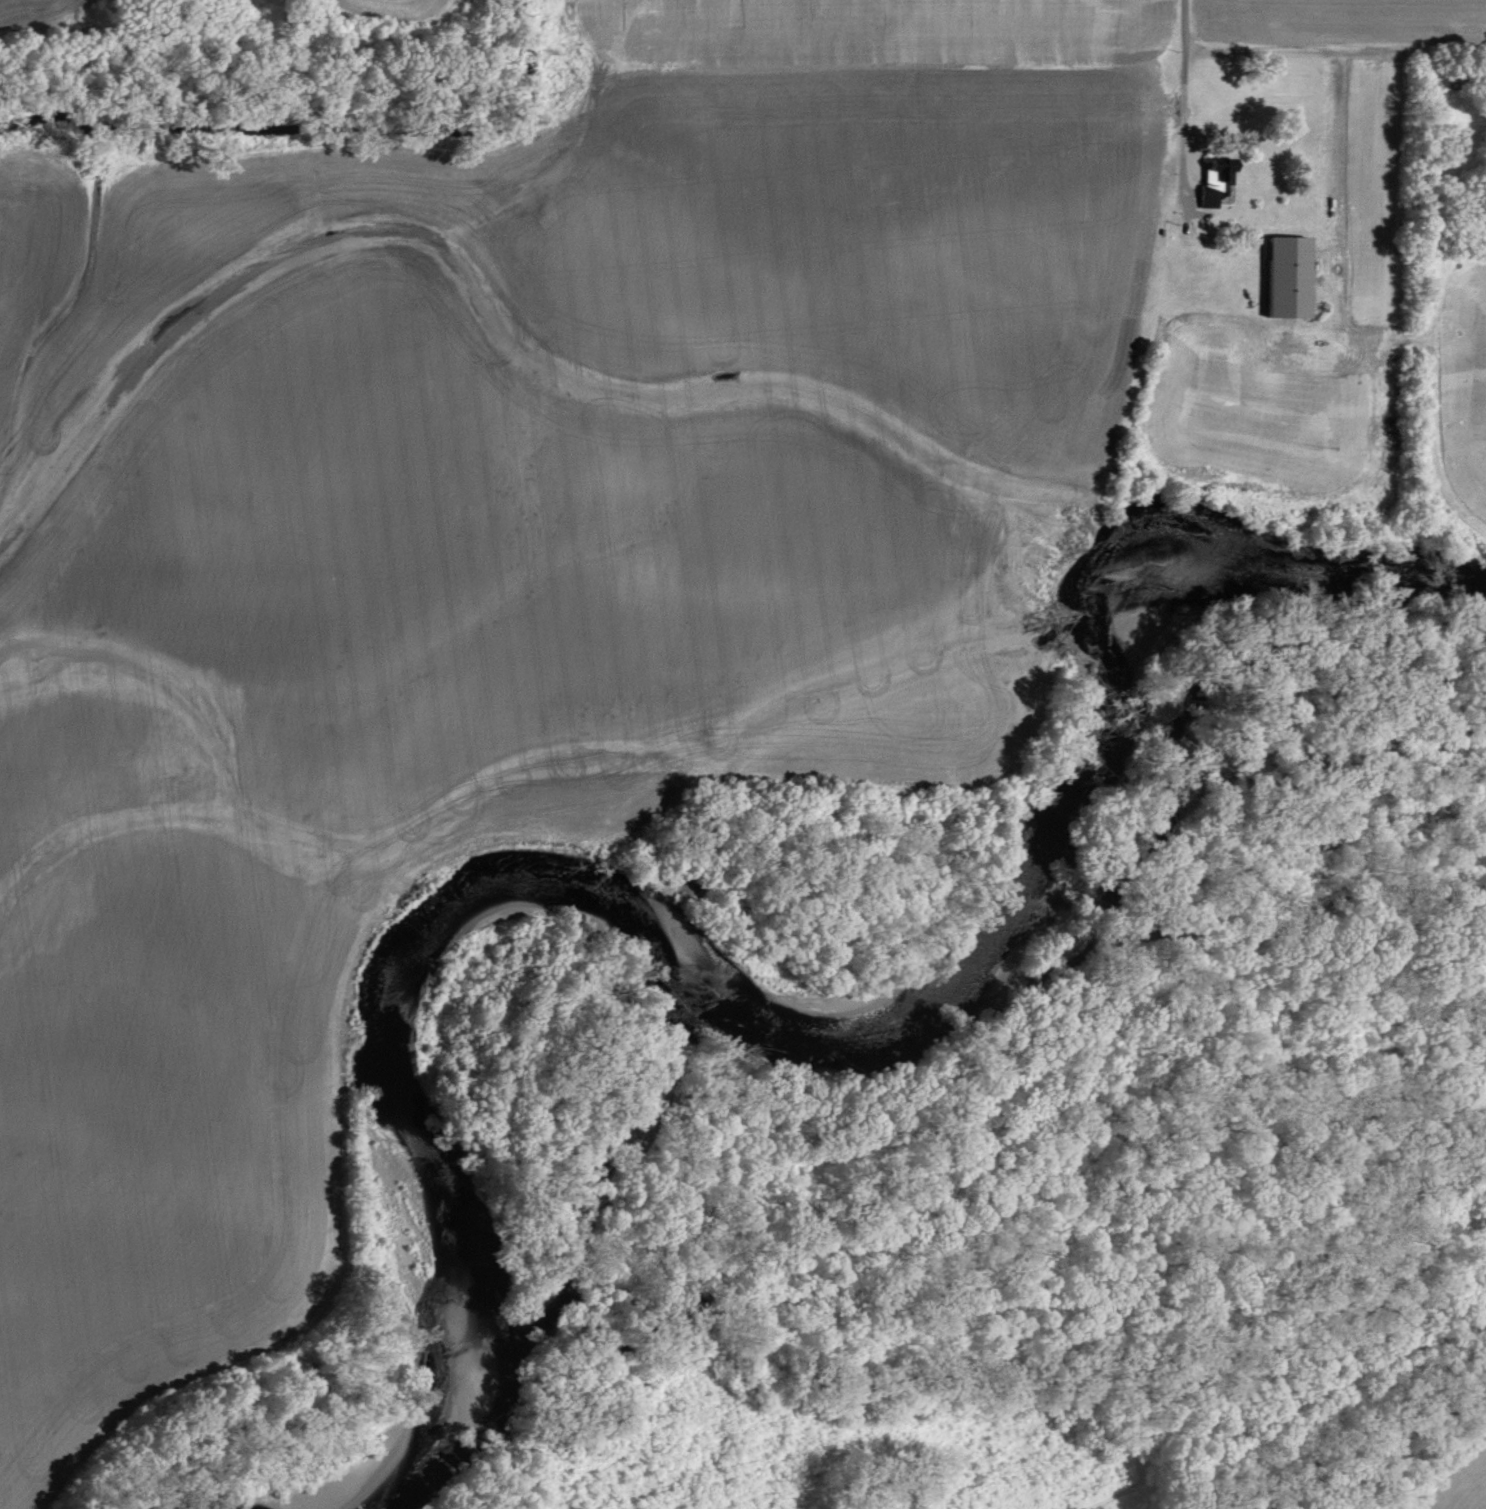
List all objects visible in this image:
road: (1332, 40)
road: (1185, 44)
road: (1181, 148)
building: (1213, 181)
building: (1282, 278)
river: (763, 992)

